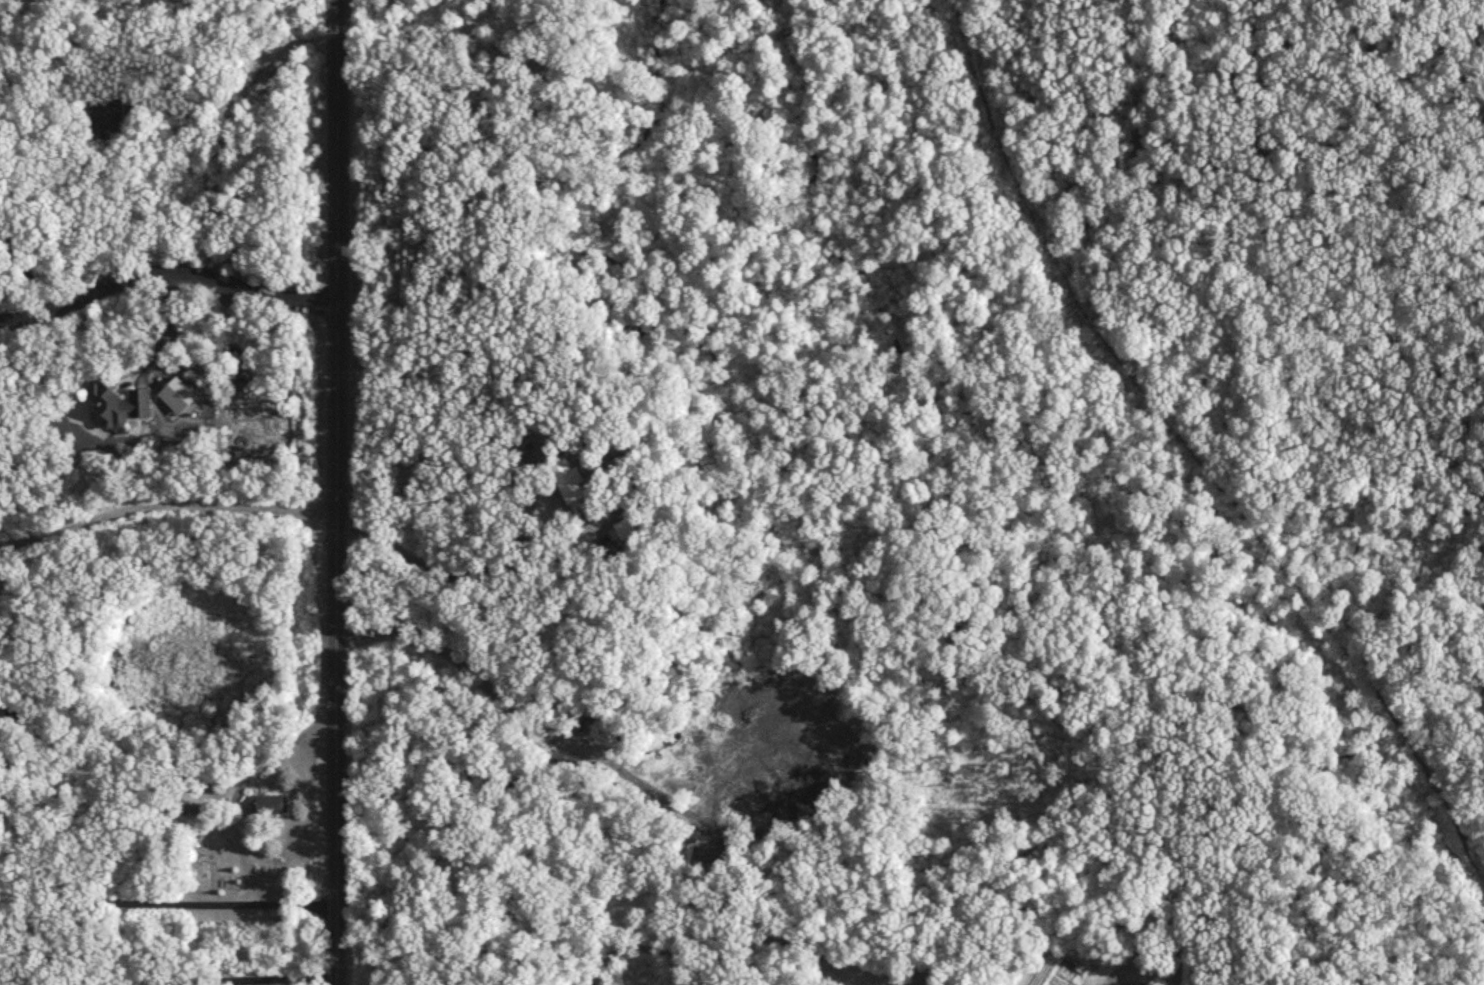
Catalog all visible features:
building: (111, 121)
road: (168, 242)
road: (165, 268)
road: (28, 271)
building: (123, 406)
building: (572, 482)
road: (336, 492)
road: (165, 505)
road: (473, 573)
road: (287, 744)
building: (275, 805)
road: (166, 904)
road: (694, 948)
road: (835, 965)
road: (815, 966)
road: (212, 979)

